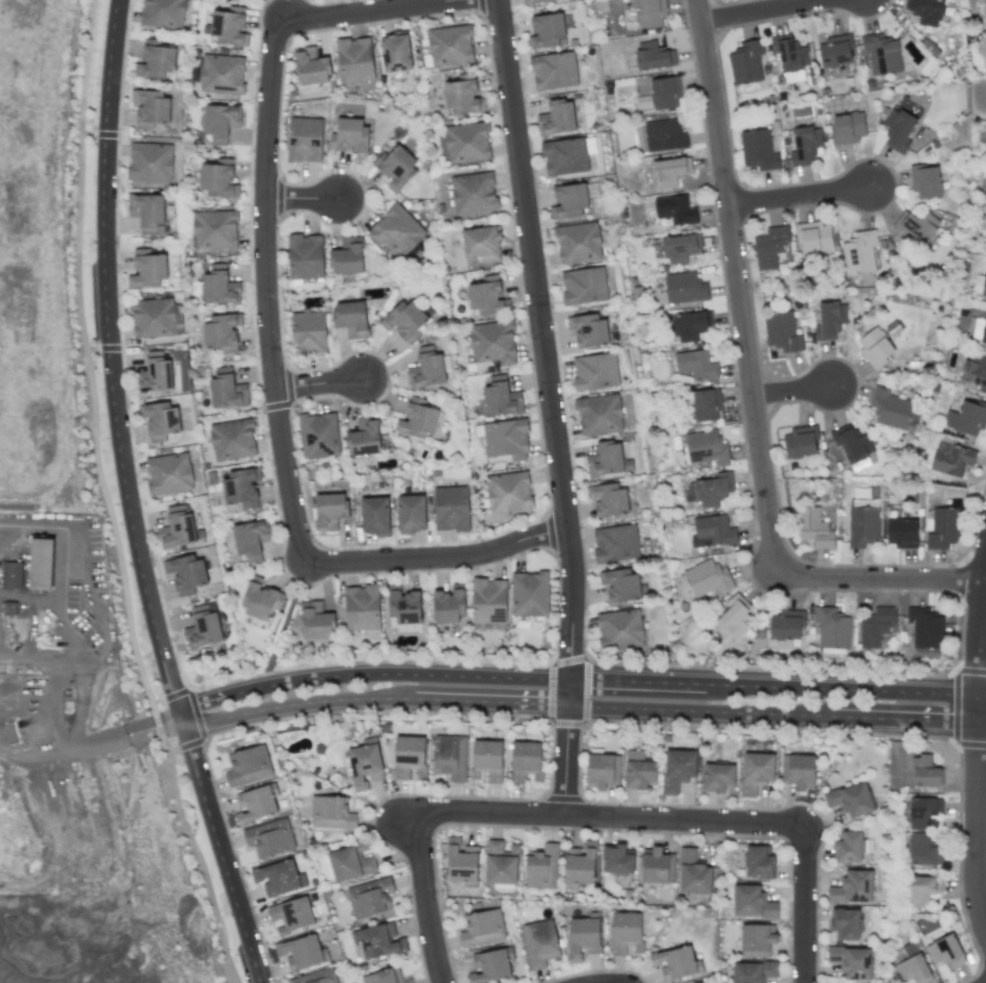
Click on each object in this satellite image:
building: (534, 1)
building: (985, 6)
building: (924, 12)
building: (162, 13)
building: (650, 13)
road: (775, 13)
building: (229, 26)
building: (545, 31)
building: (449, 46)
building: (835, 51)
building: (396, 53)
building: (882, 53)
building: (652, 56)
building: (790, 57)
building: (155, 60)
building: (355, 60)
building: (746, 62)
building: (310, 67)
building: (553, 71)
building: (221, 74)
building: (665, 92)
building: (463, 97)
building: (150, 108)
building: (556, 118)
building: (221, 122)
building: (847, 128)
building: (897, 130)
building: (665, 136)
building: (351, 137)
building: (304, 140)
building: (467, 143)
building: (805, 145)
building: (758, 150)
building: (564, 157)
building: (150, 162)
building: (396, 166)
building: (670, 171)
building: (219, 179)
building: (925, 181)
building: (473, 192)
road: (802, 199)
building: (569, 201)
road: (307, 202)
building: (675, 209)
building: (147, 211)
building: (917, 226)
building: (215, 229)
building: (396, 230)
building: (814, 236)
building: (481, 243)
building: (577, 243)
building: (770, 247)
building: (680, 248)
building: (859, 252)
building: (348, 256)
building: (305, 257)
building: (147, 269)
building: (584, 286)
building: (979, 286)
building: (219, 287)
building: (684, 288)
building: (488, 297)
building: (152, 318)
building: (351, 319)
building: (405, 321)
building: (830, 321)
building: (689, 326)
building: (588, 329)
building: (782, 331)
building: (222, 332)
building: (308, 332)
road: (274, 335)
building: (493, 343)
building: (875, 347)
building: (695, 365)
road: (88, 366)
building: (426, 369)
building: (976, 370)
building: (595, 372)
building: (154, 374)
road: (321, 386)
building: (226, 388)
road: (754, 388)
road: (797, 392)
building: (501, 397)
building: (706, 404)
road: (550, 407)
building: (890, 408)
building: (599, 414)
building: (967, 417)
building: (417, 419)
building: (160, 420)
building: (319, 435)
building: (364, 438)
building: (232, 439)
building: (504, 439)
building: (800, 442)
building: (852, 443)
building: (706, 447)
building: (951, 459)
building: (607, 460)
building: (168, 474)
building: (241, 487)
building: (713, 490)
building: (508, 492)
road: (127, 499)
building: (608, 499)
building: (451, 508)
building: (329, 511)
building: (411, 513)
building: (375, 516)
building: (862, 525)
building: (945, 527)
building: (176, 528)
building: (814, 528)
building: (714, 529)
building: (902, 533)
building: (250, 539)
building: (616, 544)
building: (41, 564)
road: (82, 571)
building: (186, 573)
building: (12, 575)
building: (707, 578)
building: (620, 585)
building: (529, 594)
building: (489, 601)
building: (449, 605)
building: (361, 607)
building: (404, 607)
building: (10, 608)
building: (733, 618)
building: (316, 621)
building: (786, 625)
building: (203, 627)
building: (876, 627)
building: (925, 627)
building: (832, 628)
building: (620, 629)
road: (40, 658)
road: (566, 680)
road: (570, 706)
road: (143, 730)
road: (60, 731)
building: (409, 756)
building: (450, 757)
building: (487, 760)
building: (526, 762)
road: (976, 763)
building: (247, 765)
building: (365, 766)
building: (678, 769)
building: (602, 770)
building: (638, 770)
building: (798, 771)
building: (756, 772)
building: (924, 772)
building: (717, 777)
building: (850, 799)
building: (256, 804)
building: (921, 812)
building: (331, 813)
road: (606, 819)
building: (269, 838)
building: (848, 847)
building: (924, 851)
road: (195, 854)
building: (617, 859)
building: (759, 862)
building: (351, 863)
building: (462, 863)
building: (501, 863)
building: (579, 865)
building: (658, 866)
building: (542, 867)
building: (693, 873)
building: (278, 877)
building: (852, 888)
building: (923, 890)
building: (370, 897)
road: (424, 898)
building: (752, 902)
road: (802, 904)
building: (291, 915)
building: (845, 924)
building: (482, 928)
building: (626, 933)
building: (583, 938)
building: (756, 939)
building: (379, 940)
building: (540, 943)
building: (944, 951)
building: (301, 952)
building: (851, 961)
building: (674, 963)
building: (490, 966)
building: (913, 969)
building: (753, 972)
building: (384, 976)
building: (316, 977)

